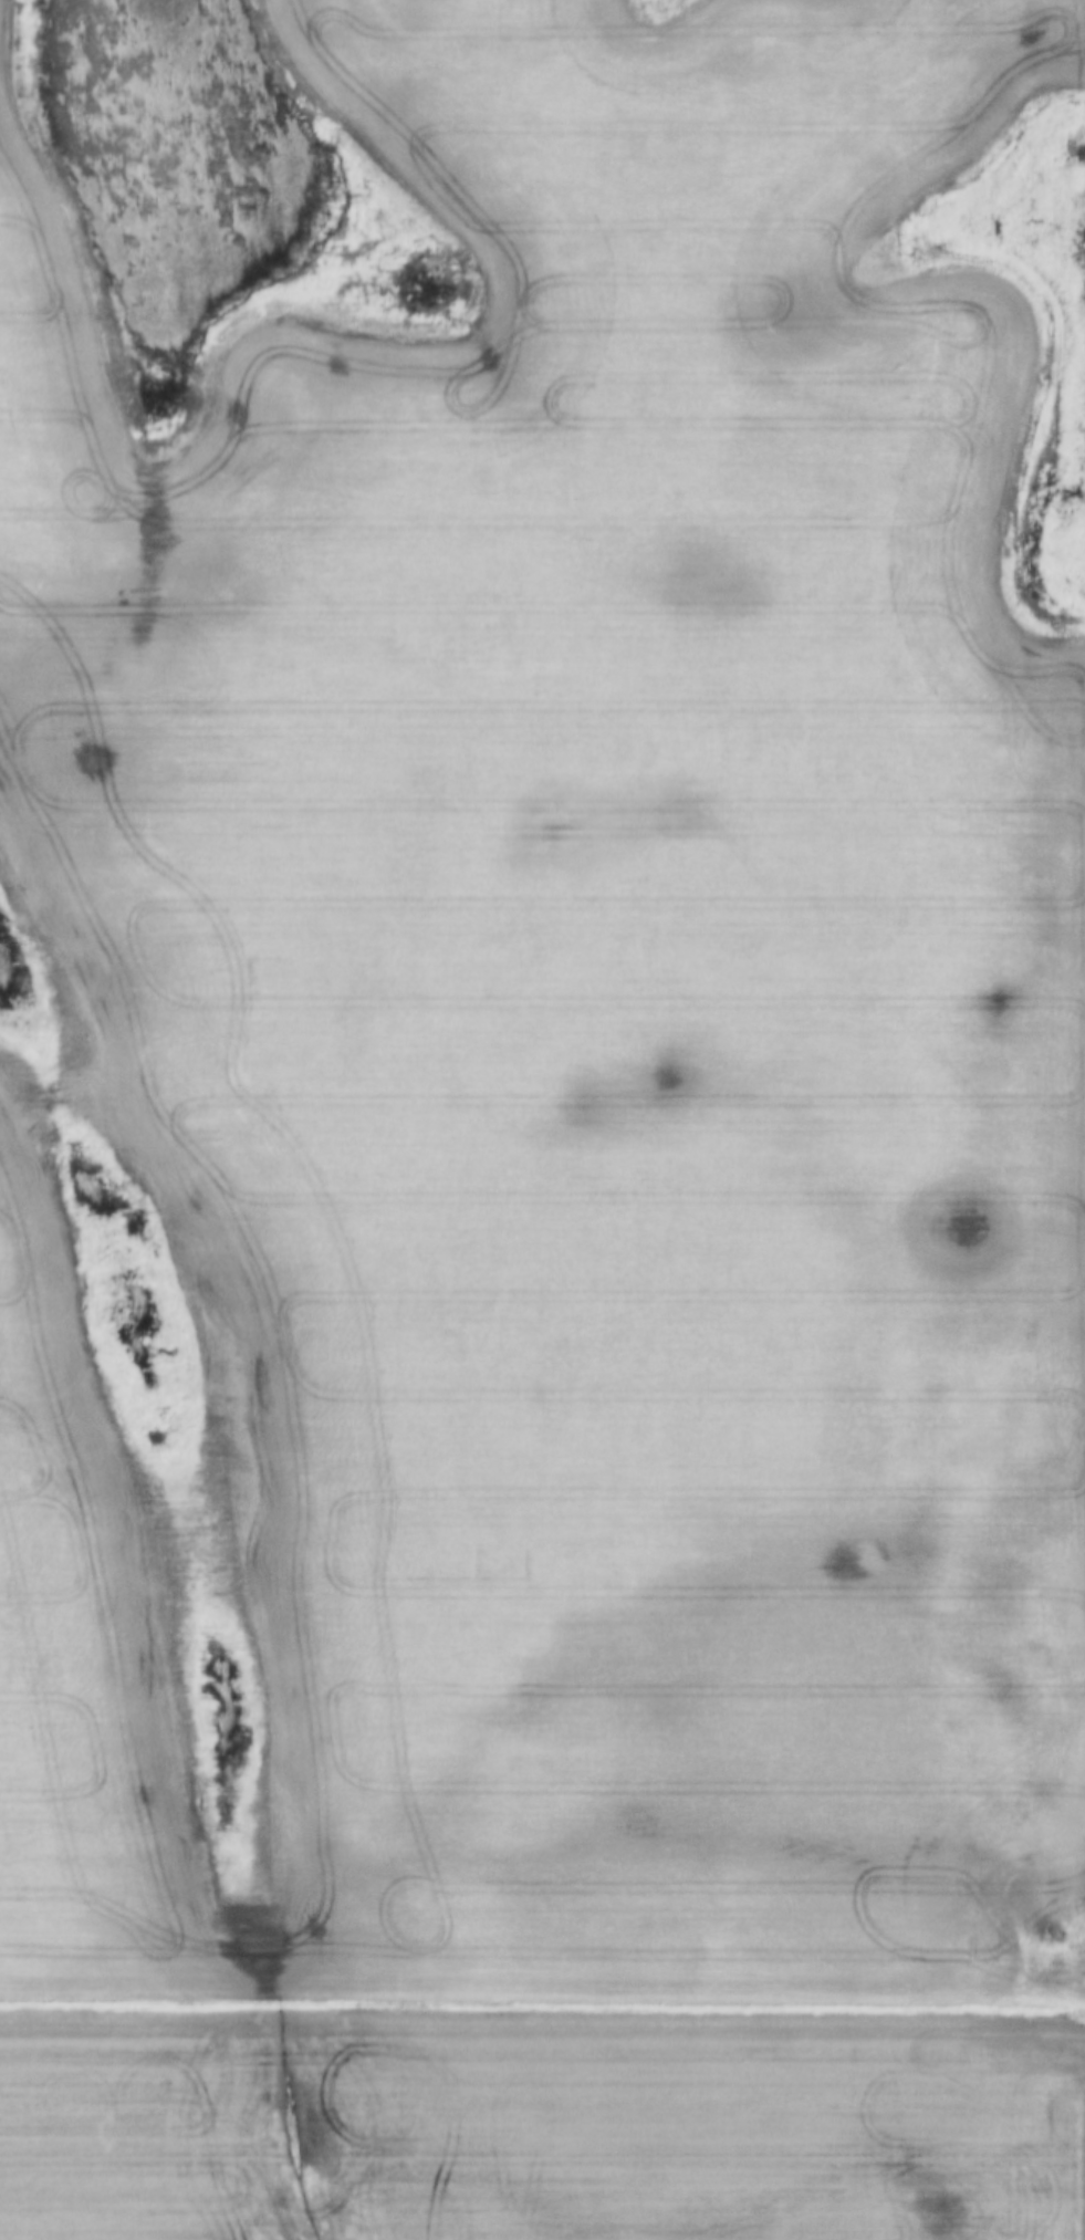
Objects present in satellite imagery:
road: (1010, 1522)
building: (956, 1656)

